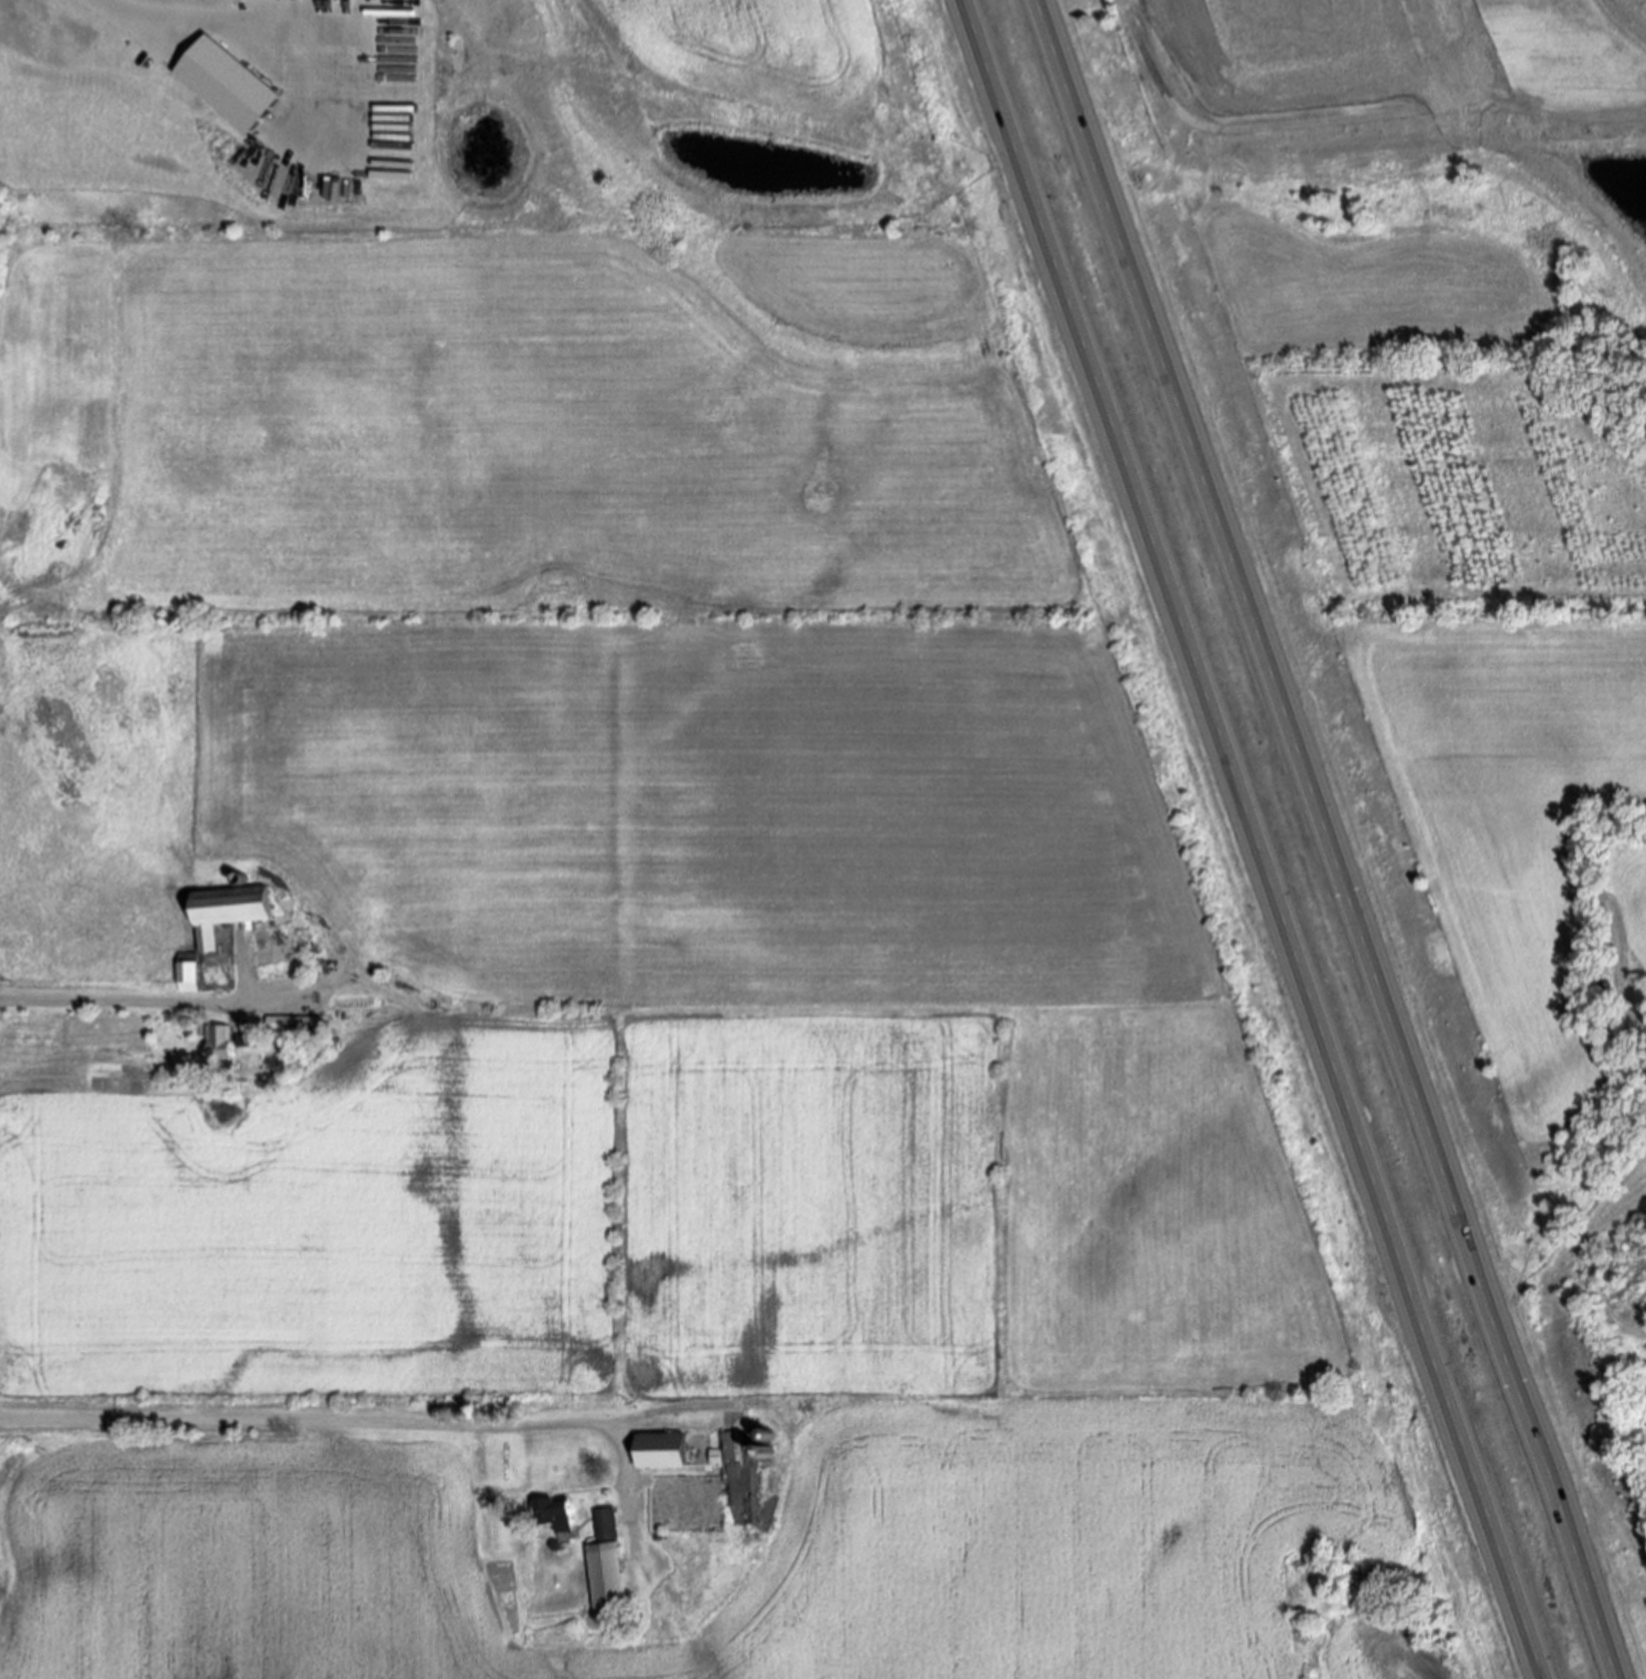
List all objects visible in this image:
road: (139, 14)
building: (229, 82)
road: (1260, 838)
road: (1334, 838)
building: (204, 940)
road: (142, 1003)
building: (293, 1029)
building: (242, 1040)
building: (218, 1041)
road: (332, 1425)
building: (661, 1452)
building: (737, 1481)
building: (553, 1515)
building: (606, 1563)

